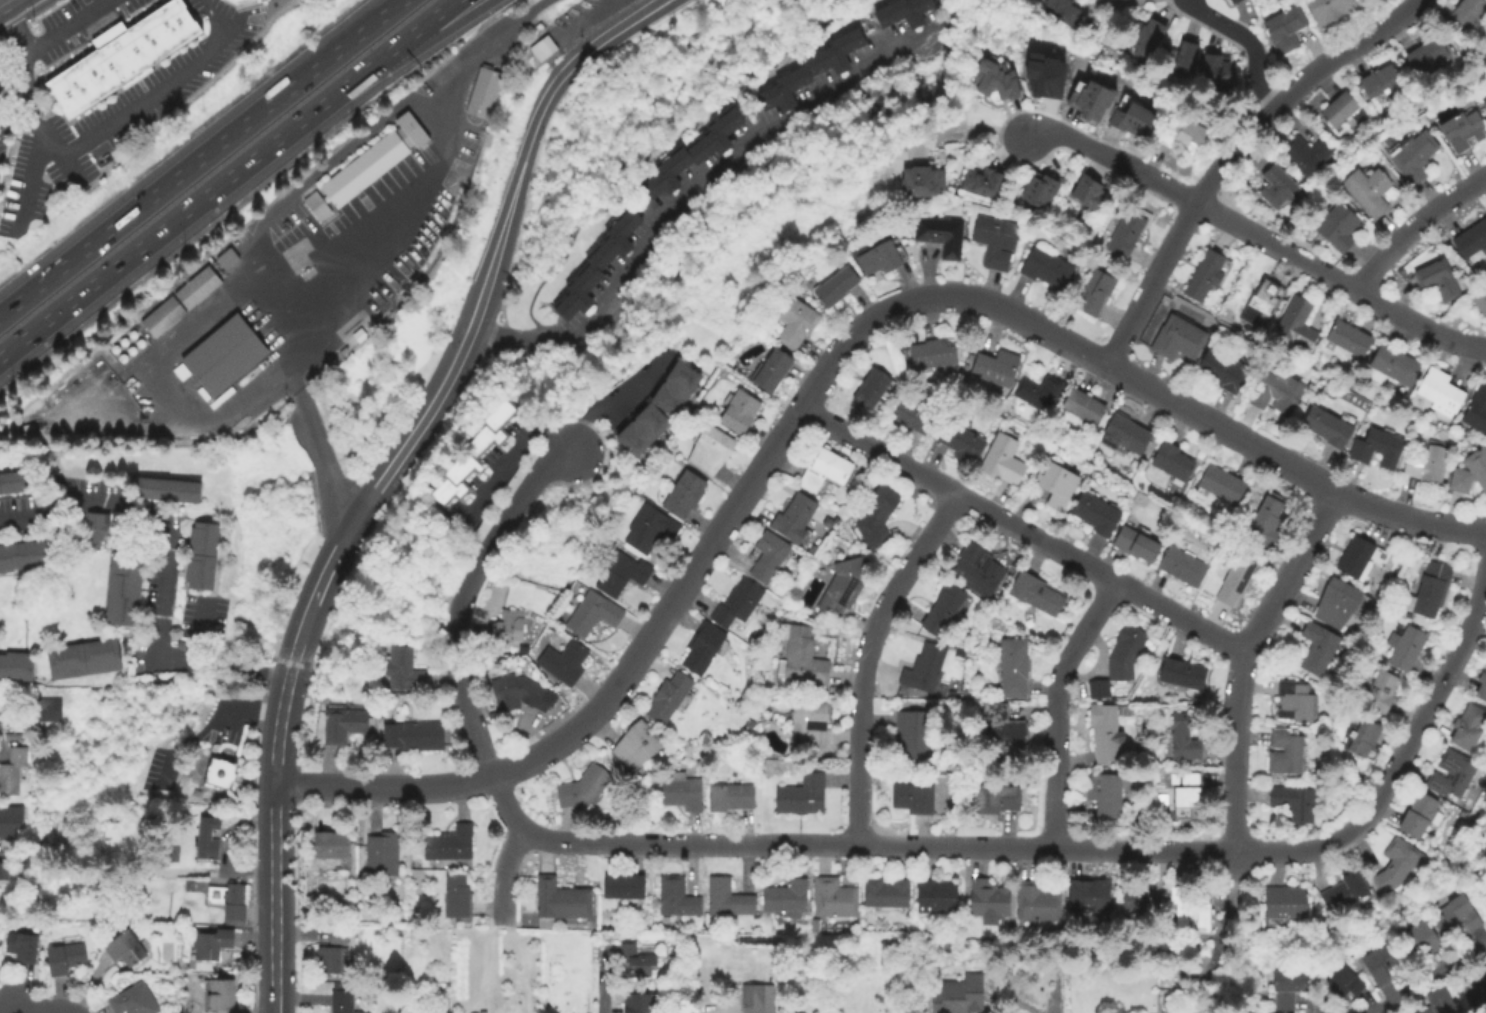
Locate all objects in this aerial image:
building: (235, 0)
road: (1102, 1)
building: (1231, 1)
building: (1236, 1)
building: (1334, 9)
building: (1064, 10)
building: (906, 12)
building: (1469, 14)
road: (62, 25)
building: (1288, 28)
building: (1147, 34)
road: (405, 40)
road: (1248, 40)
road: (427, 43)
building: (541, 47)
building: (120, 55)
building: (1430, 55)
building: (1183, 58)
building: (1218, 67)
building: (811, 72)
building: (996, 74)
building: (1045, 75)
building: (1382, 80)
road: (157, 86)
building: (481, 91)
building: (1089, 94)
road: (25, 95)
building: (1483, 104)
building: (1343, 109)
building: (1135, 119)
building: (1465, 129)
building: (1185, 135)
road: (1077, 141)
building: (1306, 152)
building: (694, 155)
road: (1231, 155)
building: (1418, 156)
road: (202, 159)
building: (372, 160)
building: (923, 177)
road: (26, 181)
building: (986, 182)
road: (412, 187)
building: (1279, 187)
building: (1372, 189)
building: (1042, 190)
road: (685, 191)
building: (1090, 191)
building: (315, 206)
road: (177, 219)
road: (1416, 226)
building: (1341, 227)
building: (1127, 234)
building: (943, 235)
building: (997, 241)
building: (1473, 242)
building: (225, 257)
building: (884, 258)
road: (1307, 261)
building: (599, 265)
building: (1049, 269)
building: (1207, 276)
building: (1442, 278)
building: (839, 286)
building: (195, 287)
building: (1095, 292)
building: (1482, 300)
building: (1264, 303)
road: (478, 310)
building: (160, 316)
building: (795, 322)
building: (1299, 323)
building: (1180, 338)
building: (1351, 339)
building: (935, 353)
building: (222, 354)
building: (1397, 365)
building: (998, 368)
building: (774, 370)
building: (1225, 371)
building: (673, 387)
building: (876, 389)
building: (1443, 390)
building: (1041, 393)
building: (1279, 393)
road: (612, 398)
building: (1086, 406)
building: (742, 412)
building: (1478, 412)
building: (914, 416)
building: (1331, 427)
building: (640, 429)
building: (1127, 432)
building: (962, 440)
road: (517, 442)
building: (1379, 447)
building: (473, 450)
building: (712, 451)
building: (1005, 458)
road: (323, 461)
building: (1174, 461)
road: (1289, 466)
building: (1429, 467)
building: (827, 470)
building: (1471, 472)
road: (538, 475)
building: (679, 475)
building: (18, 483)
building: (1059, 484)
building: (1224, 484)
building: (171, 490)
building: (686, 495)
building: (1096, 513)
building: (796, 516)
building: (878, 516)
building: (1270, 521)
building: (93, 527)
building: (652, 529)
road: (1022, 530)
building: (1136, 543)
road: (707, 549)
building: (26, 556)
building: (770, 556)
building: (204, 558)
building: (1363, 558)
building: (1182, 565)
road: (162, 569)
building: (979, 571)
building: (624, 574)
building: (1237, 582)
building: (844, 586)
building: (1433, 588)
building: (126, 589)
building: (1037, 593)
building: (739, 603)
building: (1339, 603)
building: (945, 609)
building: (594, 613)
building: (511, 626)
road: (198, 628)
building: (1395, 638)
building: (704, 648)
building: (1320, 649)
building: (1409, 649)
building: (1126, 651)
road: (296, 657)
road: (865, 657)
building: (86, 660)
building: (564, 664)
building: (802, 664)
building: (17, 668)
building: (926, 668)
building: (1016, 668)
building: (404, 671)
road: (457, 672)
road: (1238, 673)
building: (1183, 674)
building: (1483, 687)
building: (1100, 690)
building: (516, 691)
building: (1383, 692)
building: (671, 697)
building: (1298, 702)
road: (1056, 707)
building: (37, 714)
building: (812, 722)
road: (281, 725)
building: (1005, 725)
building: (344, 727)
building: (1469, 728)
building: (1105, 733)
road: (211, 735)
building: (916, 736)
building: (1187, 736)
building: (414, 737)
building: (1366, 737)
road: (1412, 737)
building: (639, 746)
building: (1287, 754)
building: (13, 771)
building: (218, 771)
building: (1455, 775)
building: (584, 790)
building: (683, 793)
building: (1108, 794)
building: (1187, 794)
building: (803, 796)
building: (732, 798)
building: (915, 798)
building: (1000, 798)
building: (1295, 801)
building: (1422, 817)
building: (10, 821)
building: (208, 839)
building: (452, 845)
road: (906, 845)
building: (333, 847)
building: (1484, 848)
building: (383, 856)
building: (1400, 865)
building: (5, 873)
road: (1473, 875)
road: (503, 879)
building: (625, 887)
building: (1347, 891)
building: (887, 894)
building: (1090, 894)
building: (936, 896)
building: (458, 897)
building: (788, 897)
building: (232, 898)
road: (275, 898)
building: (679, 898)
building: (834, 898)
building: (1138, 898)
building: (729, 899)
building: (990, 900)
building: (562, 902)
building: (1039, 902)
building: (1288, 902)
building: (1191, 909)
road: (1241, 912)
building: (1460, 915)
road: (1389, 919)
building: (1422, 937)
building: (339, 938)
building: (214, 944)
building: (24, 945)
building: (127, 949)
building: (66, 959)
building: (640, 960)
building: (334, 962)
building: (1382, 964)
building: (1485, 972)
road: (1429, 979)
road: (598, 980)
building: (1342, 981)
building: (1288, 988)
building: (755, 995)
building: (960, 995)
building: (221, 996)
building: (1480, 996)
building: (135, 1001)
building: (341, 1002)
building: (1440, 1002)
building: (640, 1004)
road: (38, 1009)

